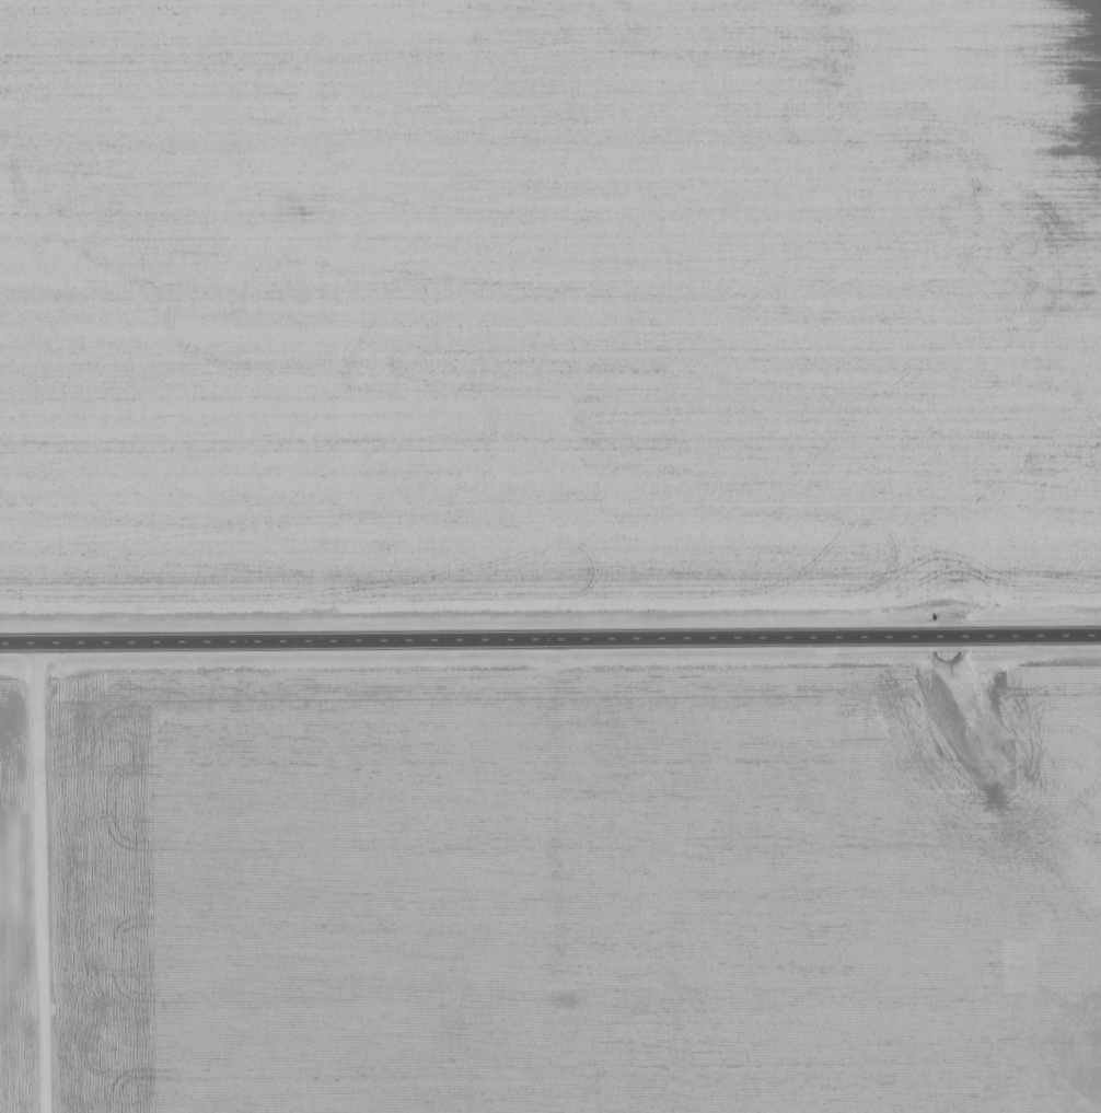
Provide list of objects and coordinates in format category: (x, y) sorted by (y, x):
road: (549, 639)
road: (35, 879)

